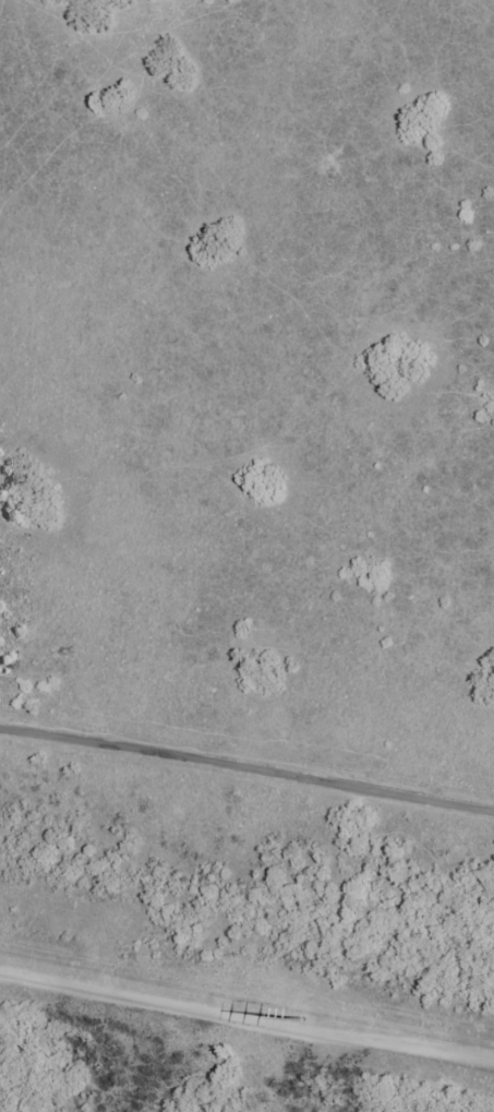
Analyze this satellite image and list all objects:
road: (246, 763)
power tower: (309, 1021)

